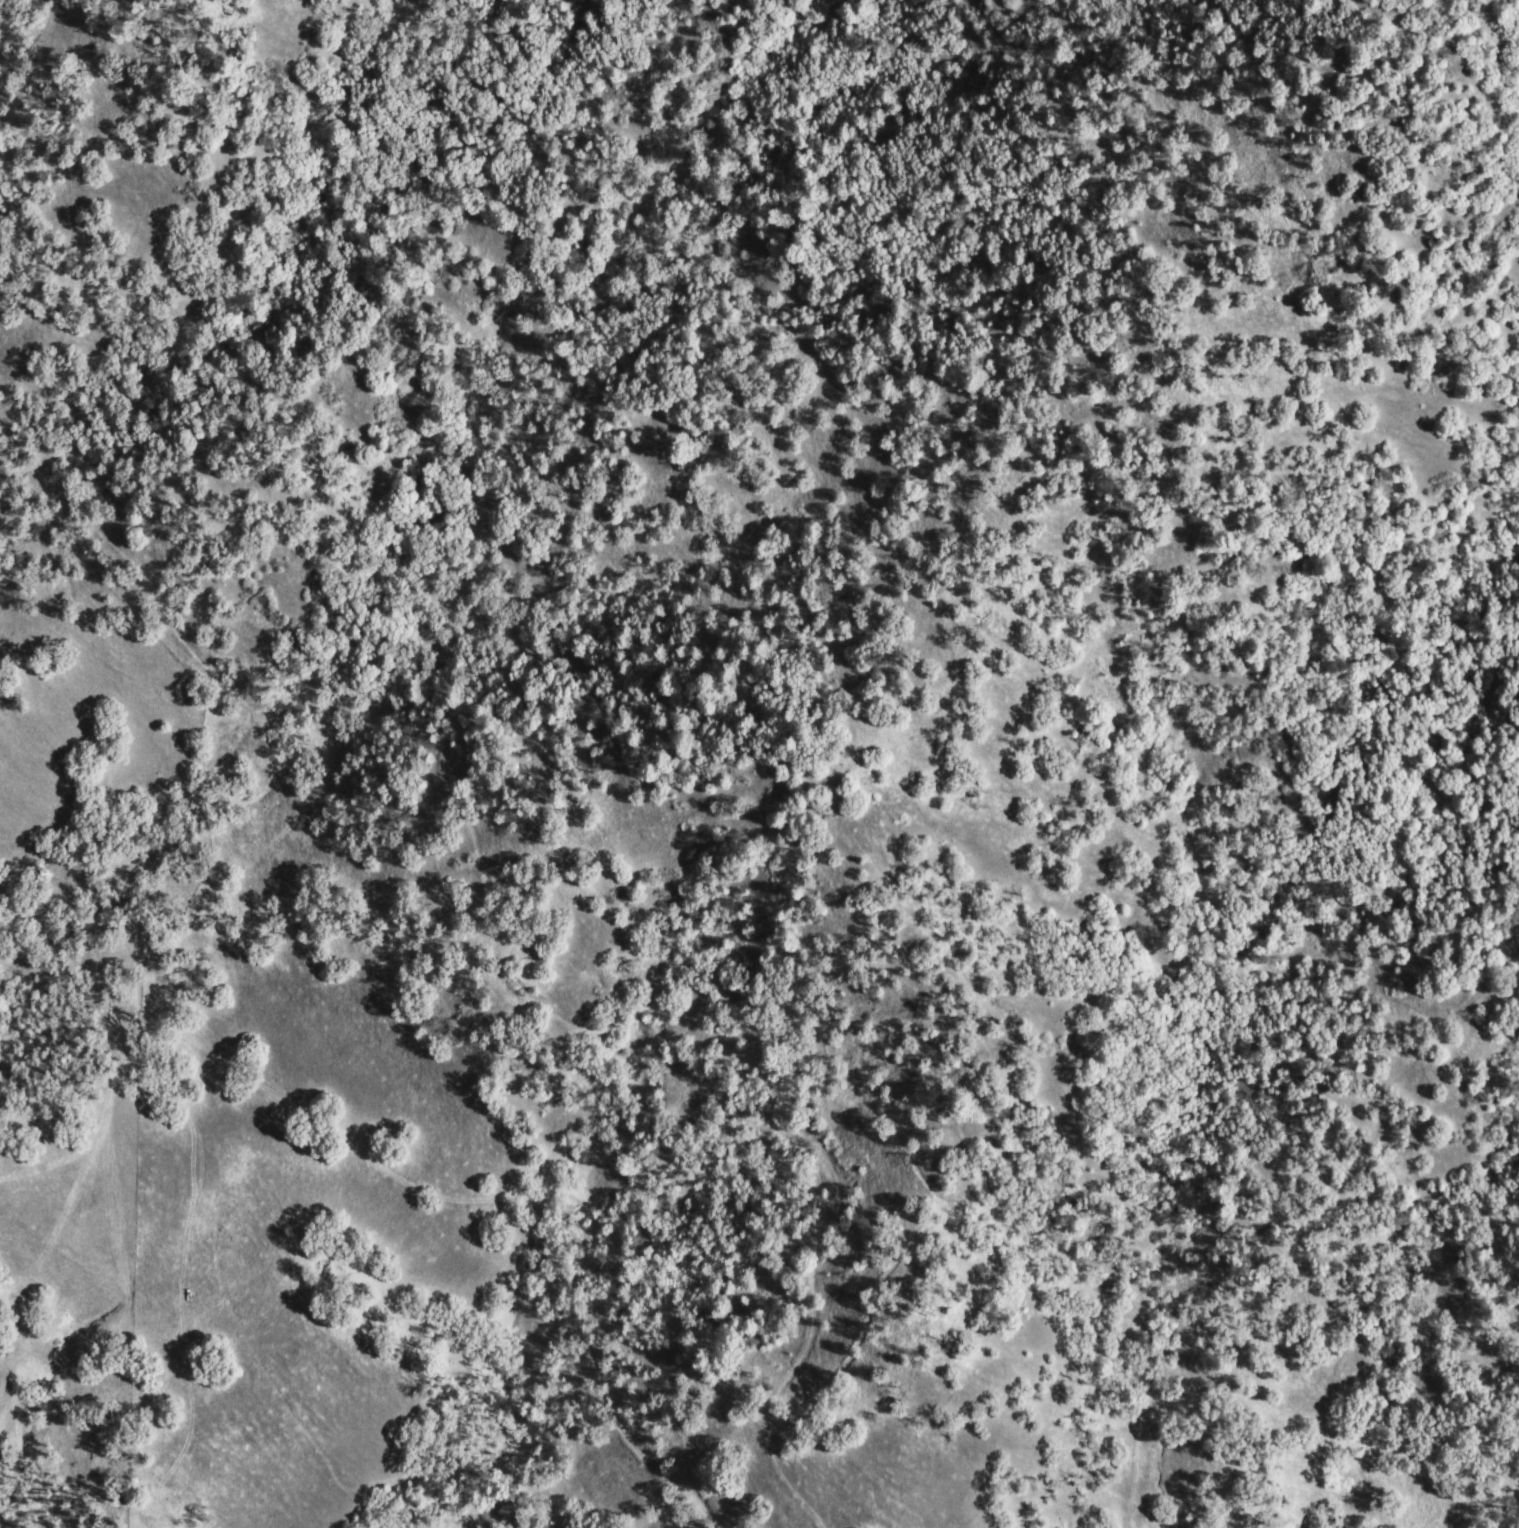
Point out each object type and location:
road: (505, 1232)
road: (1162, 1411)

